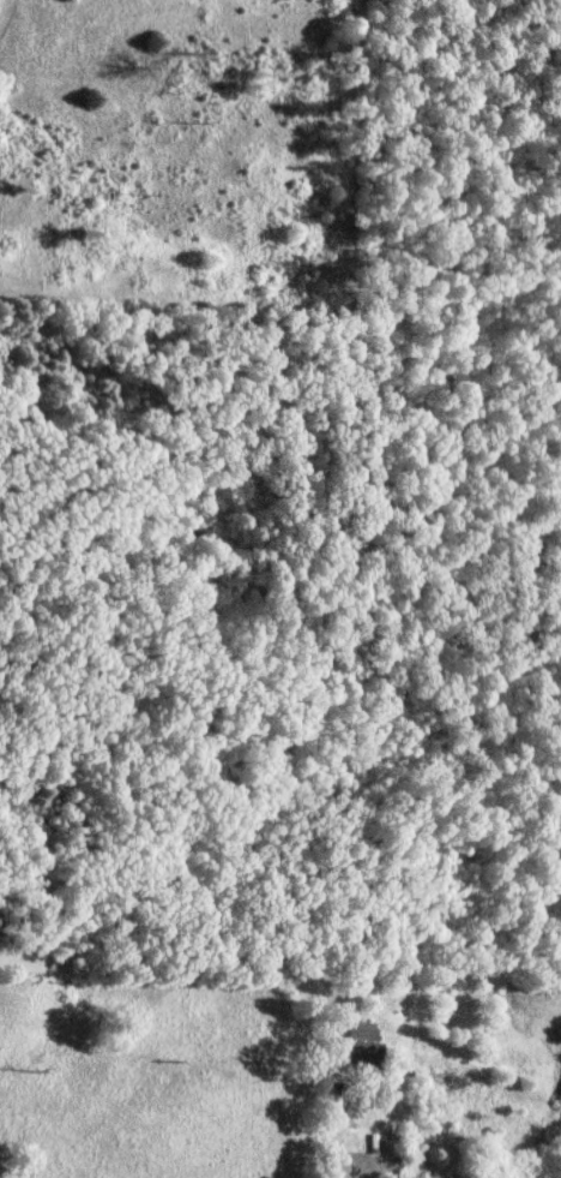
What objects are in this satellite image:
road: (280, 992)
building: (364, 1045)

